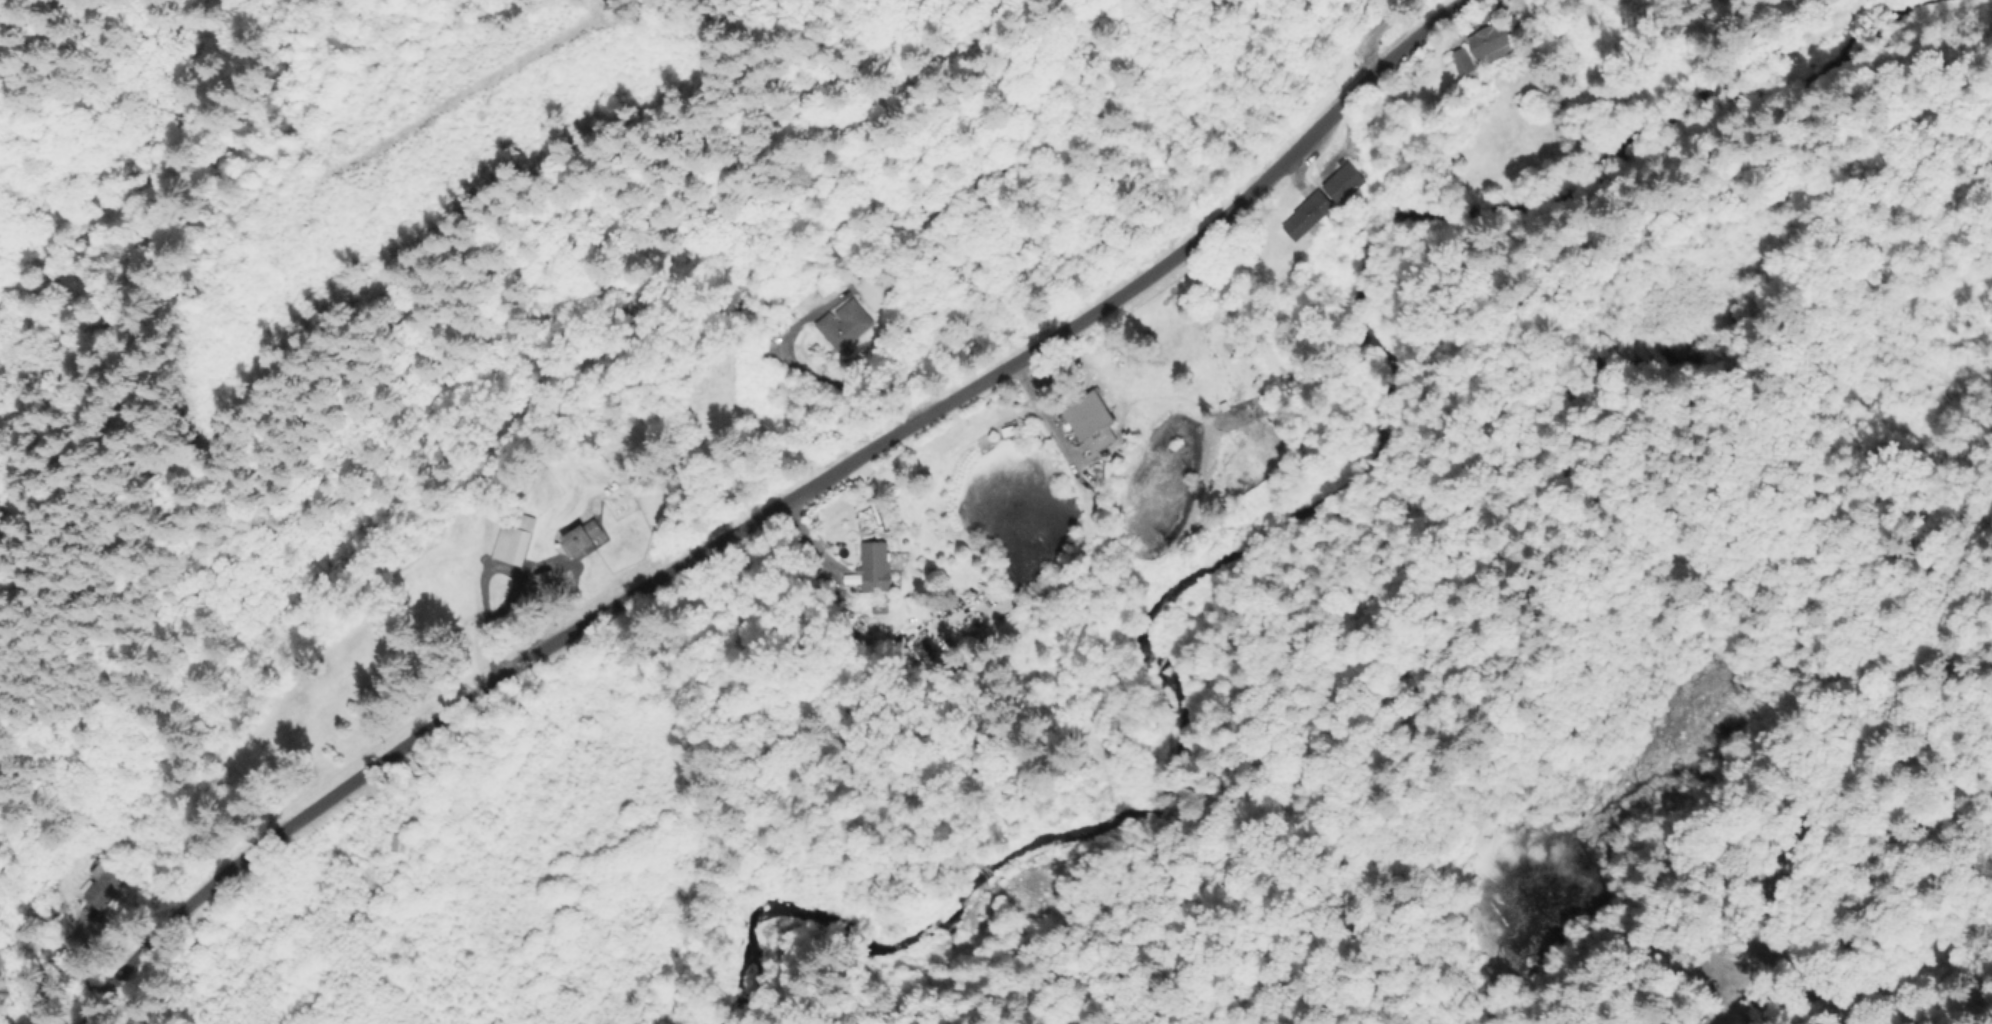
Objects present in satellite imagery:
building: (1491, 44)
building: (1464, 65)
building: (1345, 184)
building: (1309, 216)
building: (877, 289)
building: (846, 326)
building: (1089, 424)
road: (772, 511)
building: (585, 539)
building: (516, 540)
building: (874, 567)
building: (542, 585)
building: (869, 601)
building: (105, 886)

